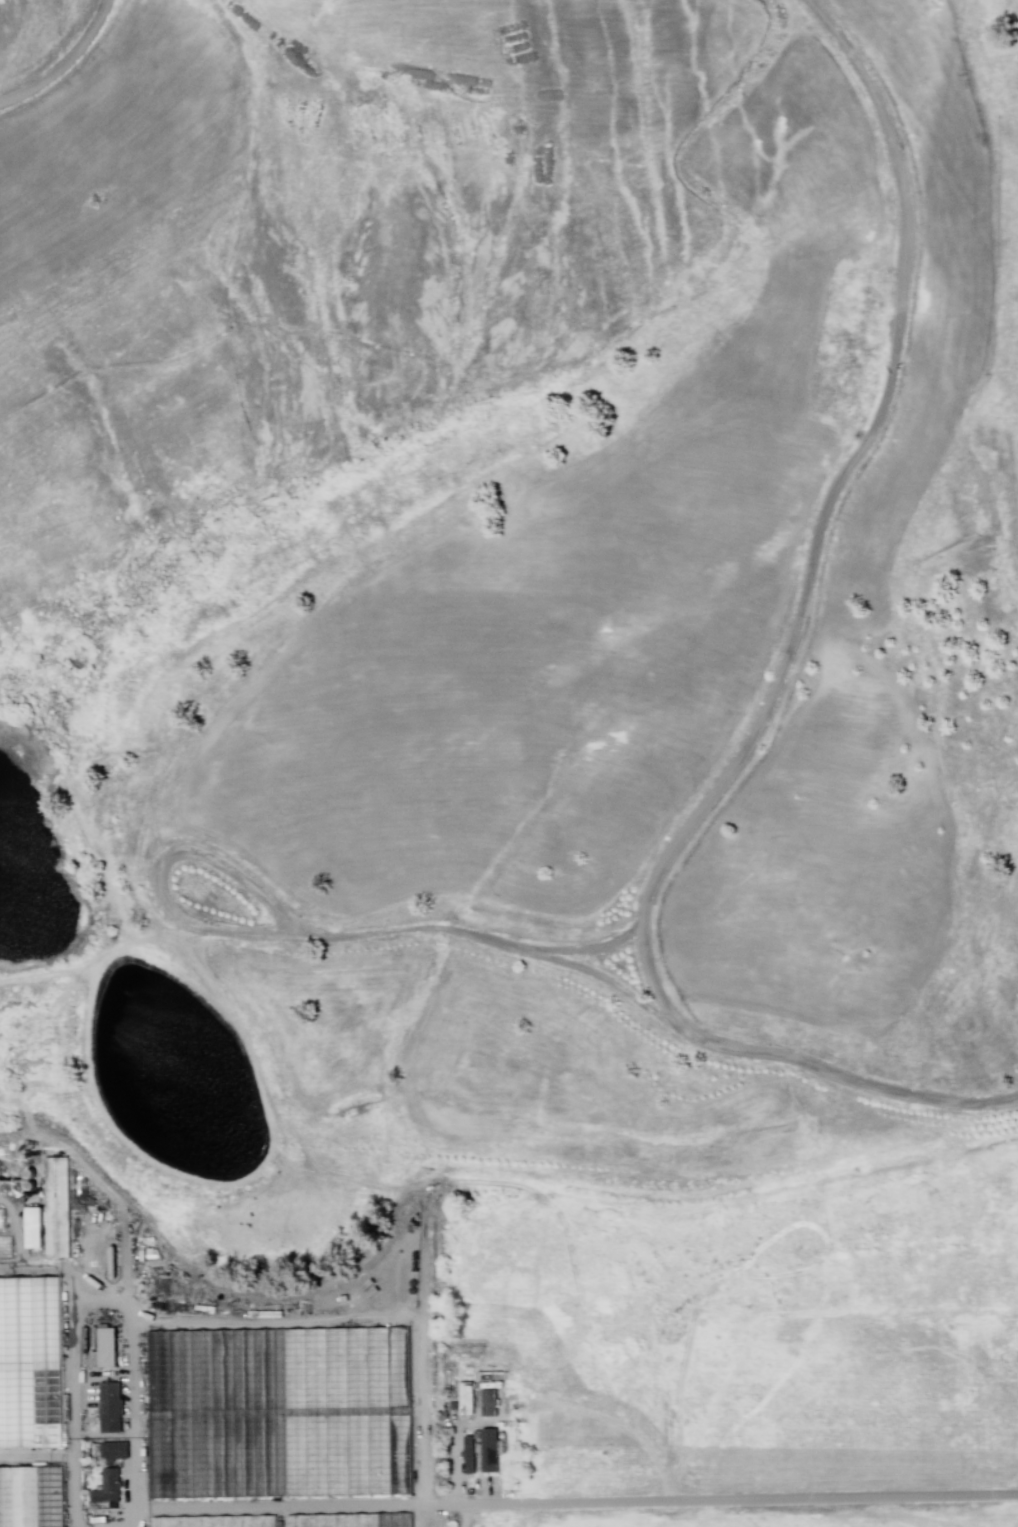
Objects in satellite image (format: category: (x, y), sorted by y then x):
road: (69, 65)
road: (775, 686)
road: (294, 931)
road: (608, 985)
building: (55, 1205)
building: (0, 1217)
building: (32, 1226)
crop: (836, 1318)
building: (100, 1346)
building: (187, 1375)
building: (370, 1383)
building: (465, 1395)
building: (487, 1401)
building: (108, 1406)
building: (111, 1449)
building: (488, 1449)
building: (467, 1453)
building: (105, 1485)
road: (592, 1502)

